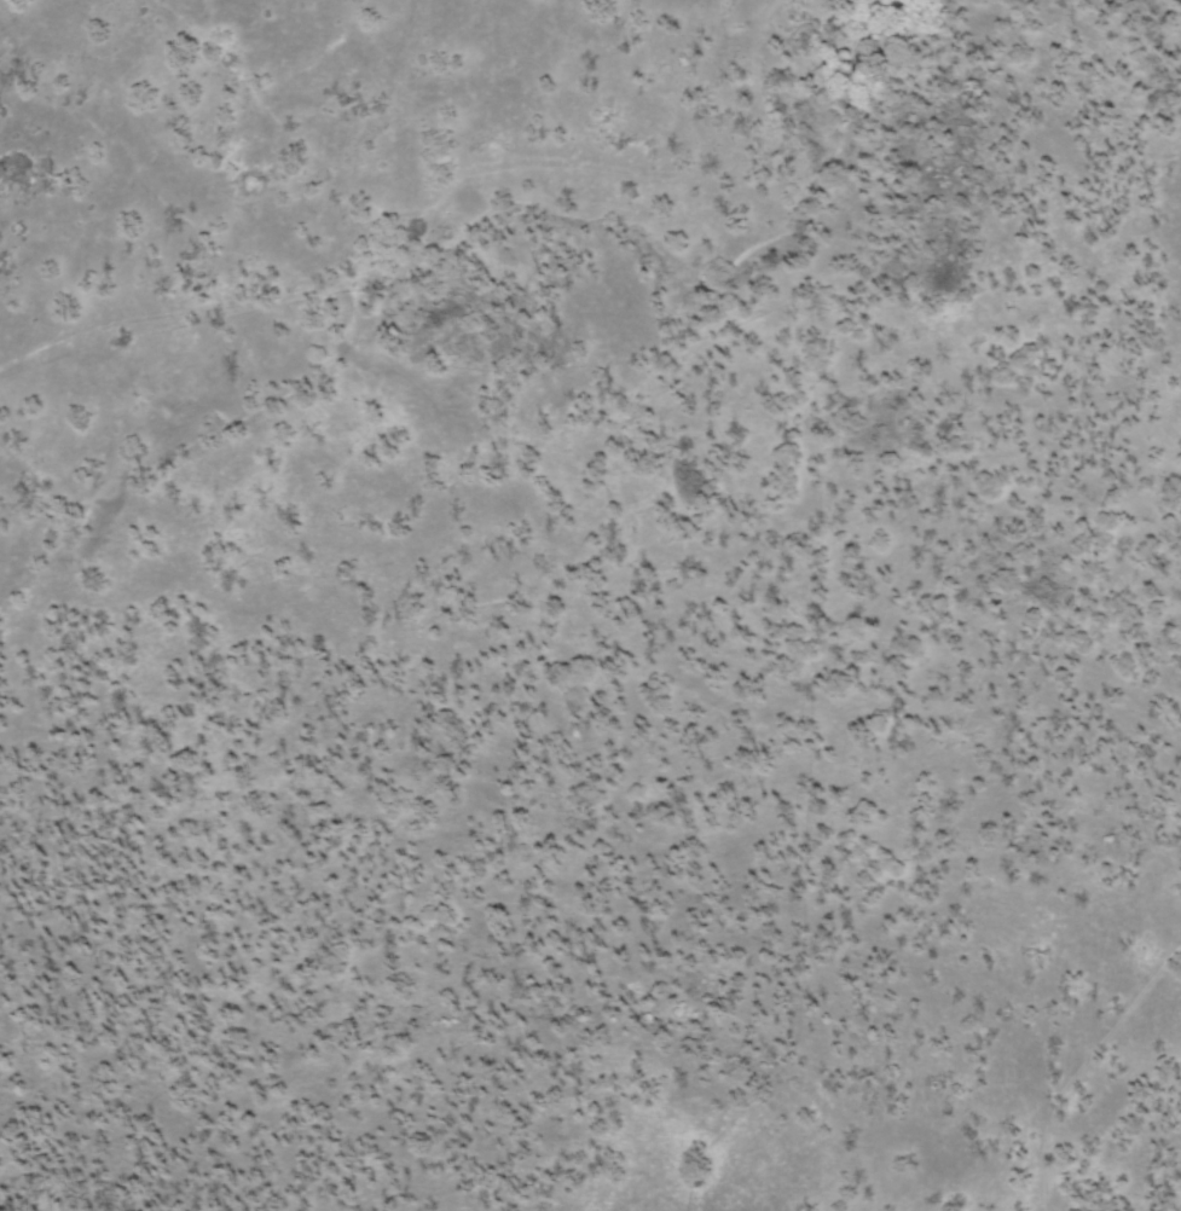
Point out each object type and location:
road: (793, 60)

